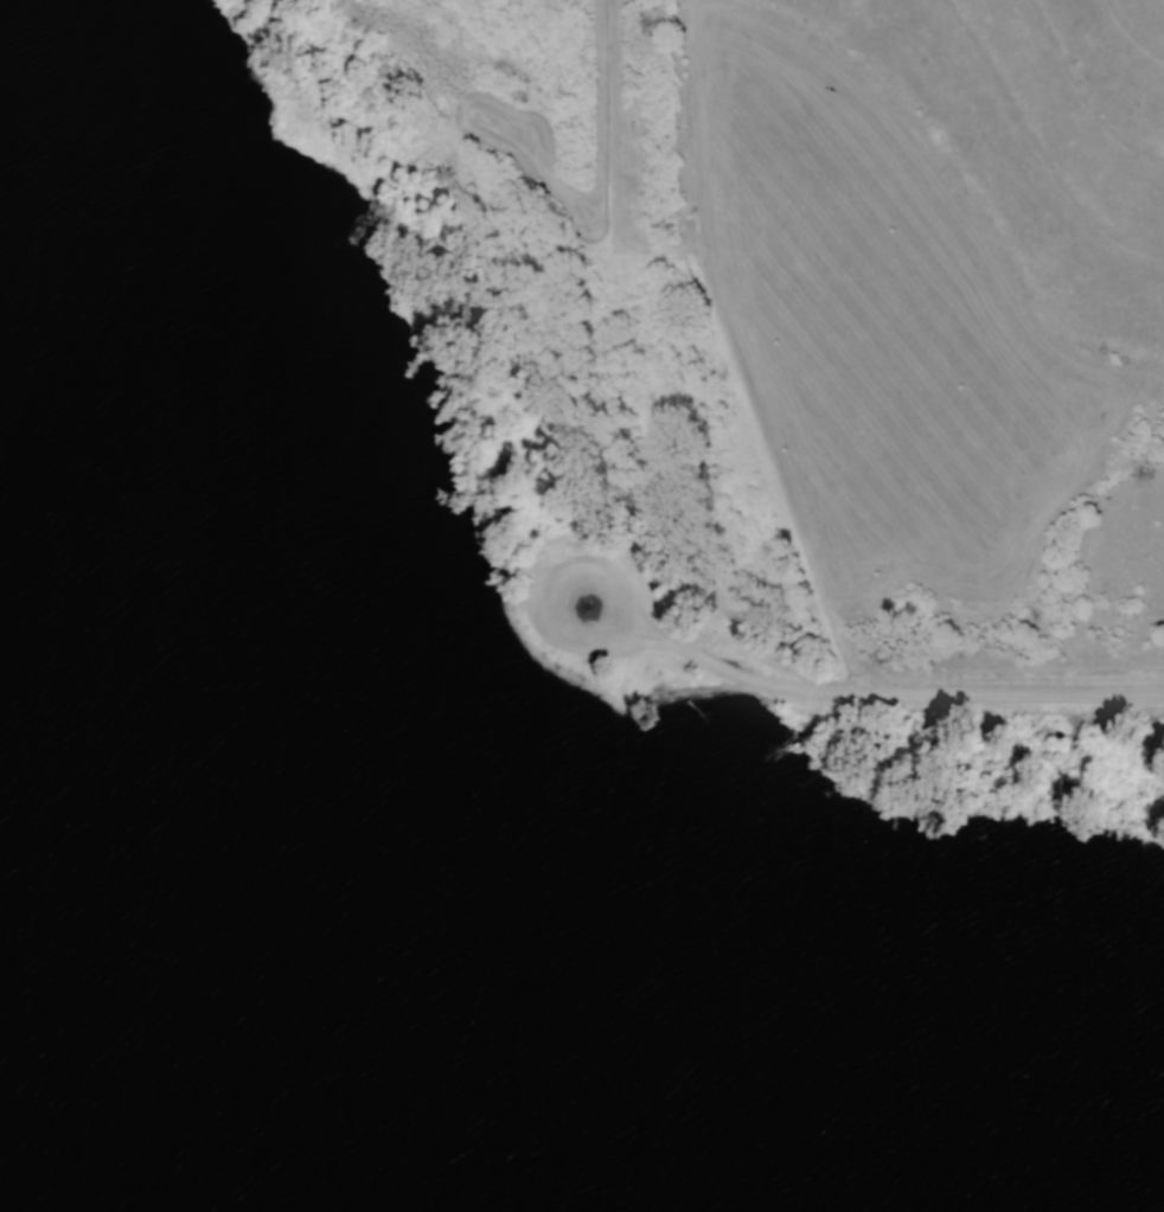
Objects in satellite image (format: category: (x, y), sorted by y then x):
road: (740, 354)
road: (868, 690)
park: (549, 877)
river: (181, 1045)

